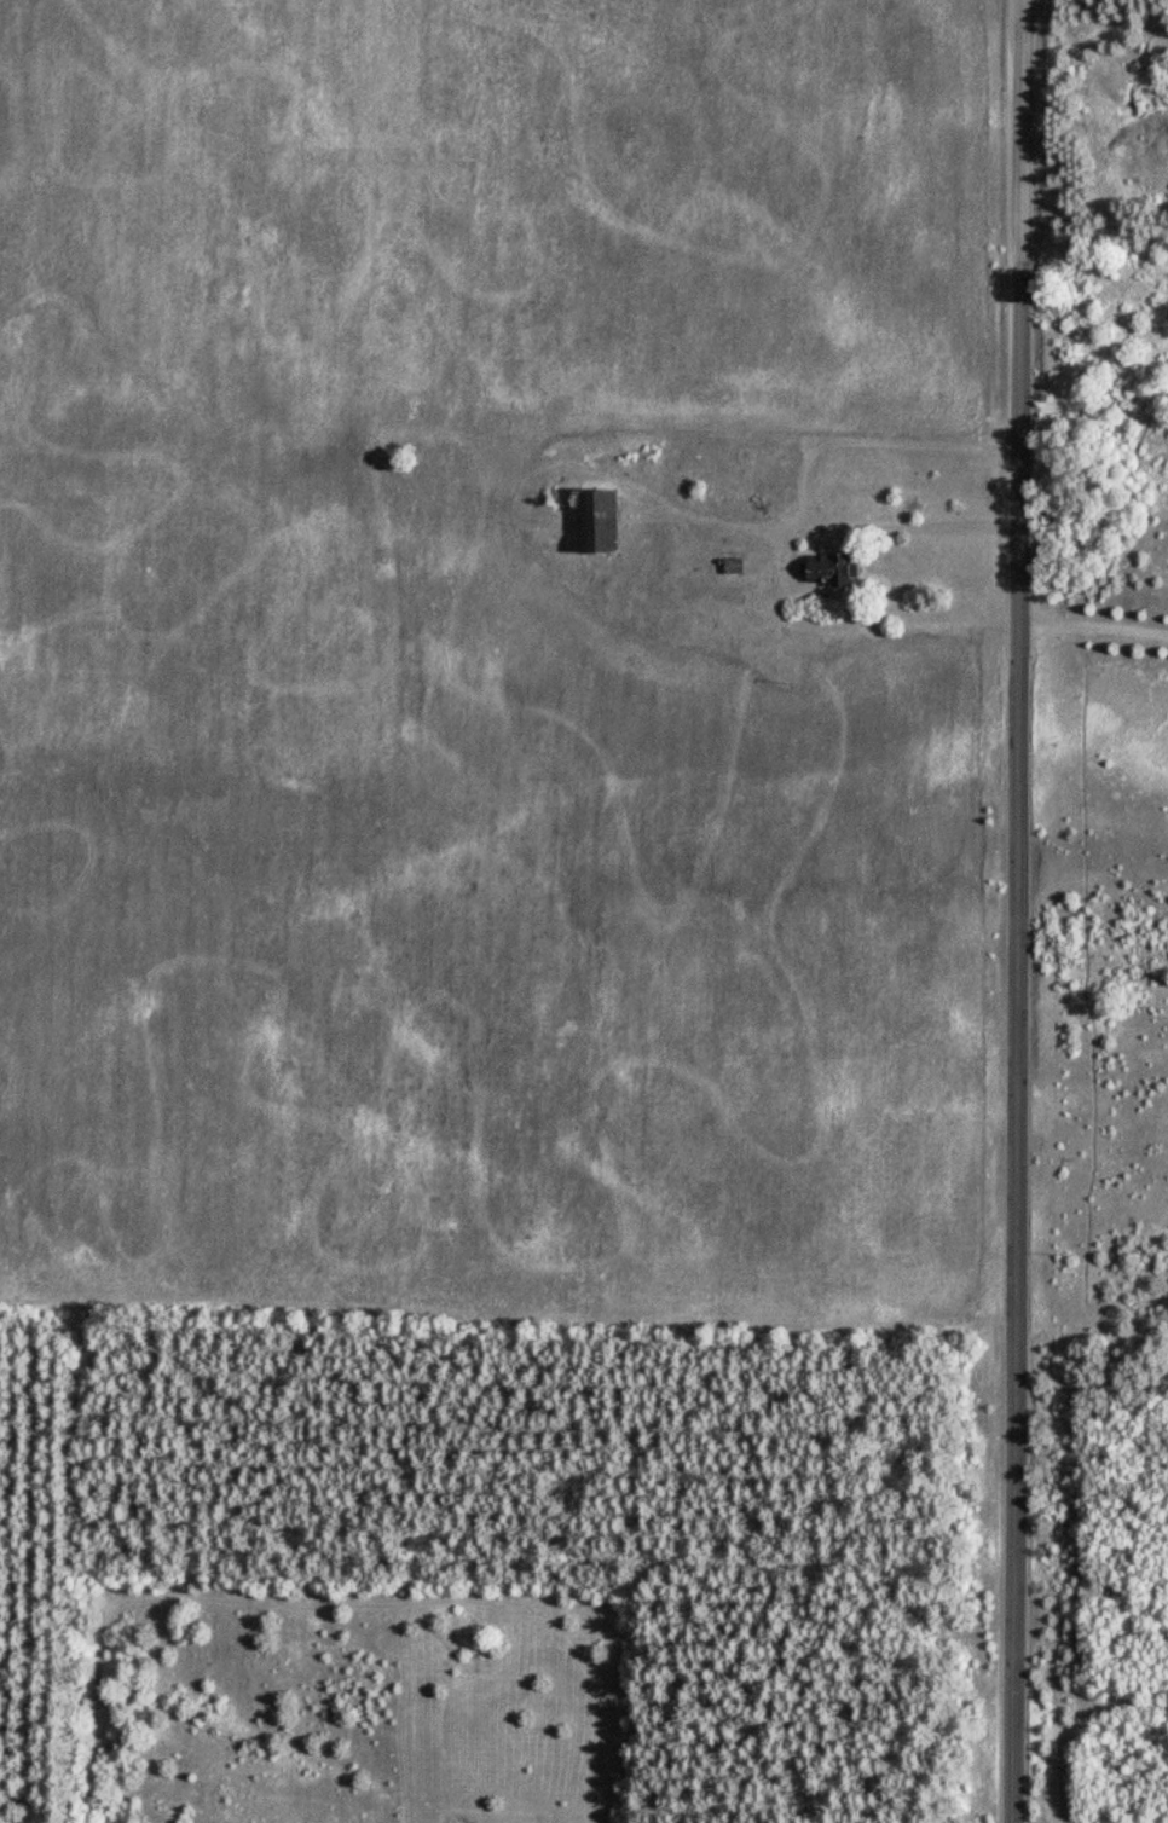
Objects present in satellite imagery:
building: (738, 426)
building: (605, 520)
building: (736, 565)
building: (831, 567)
road: (1093, 621)
road: (1017, 911)

